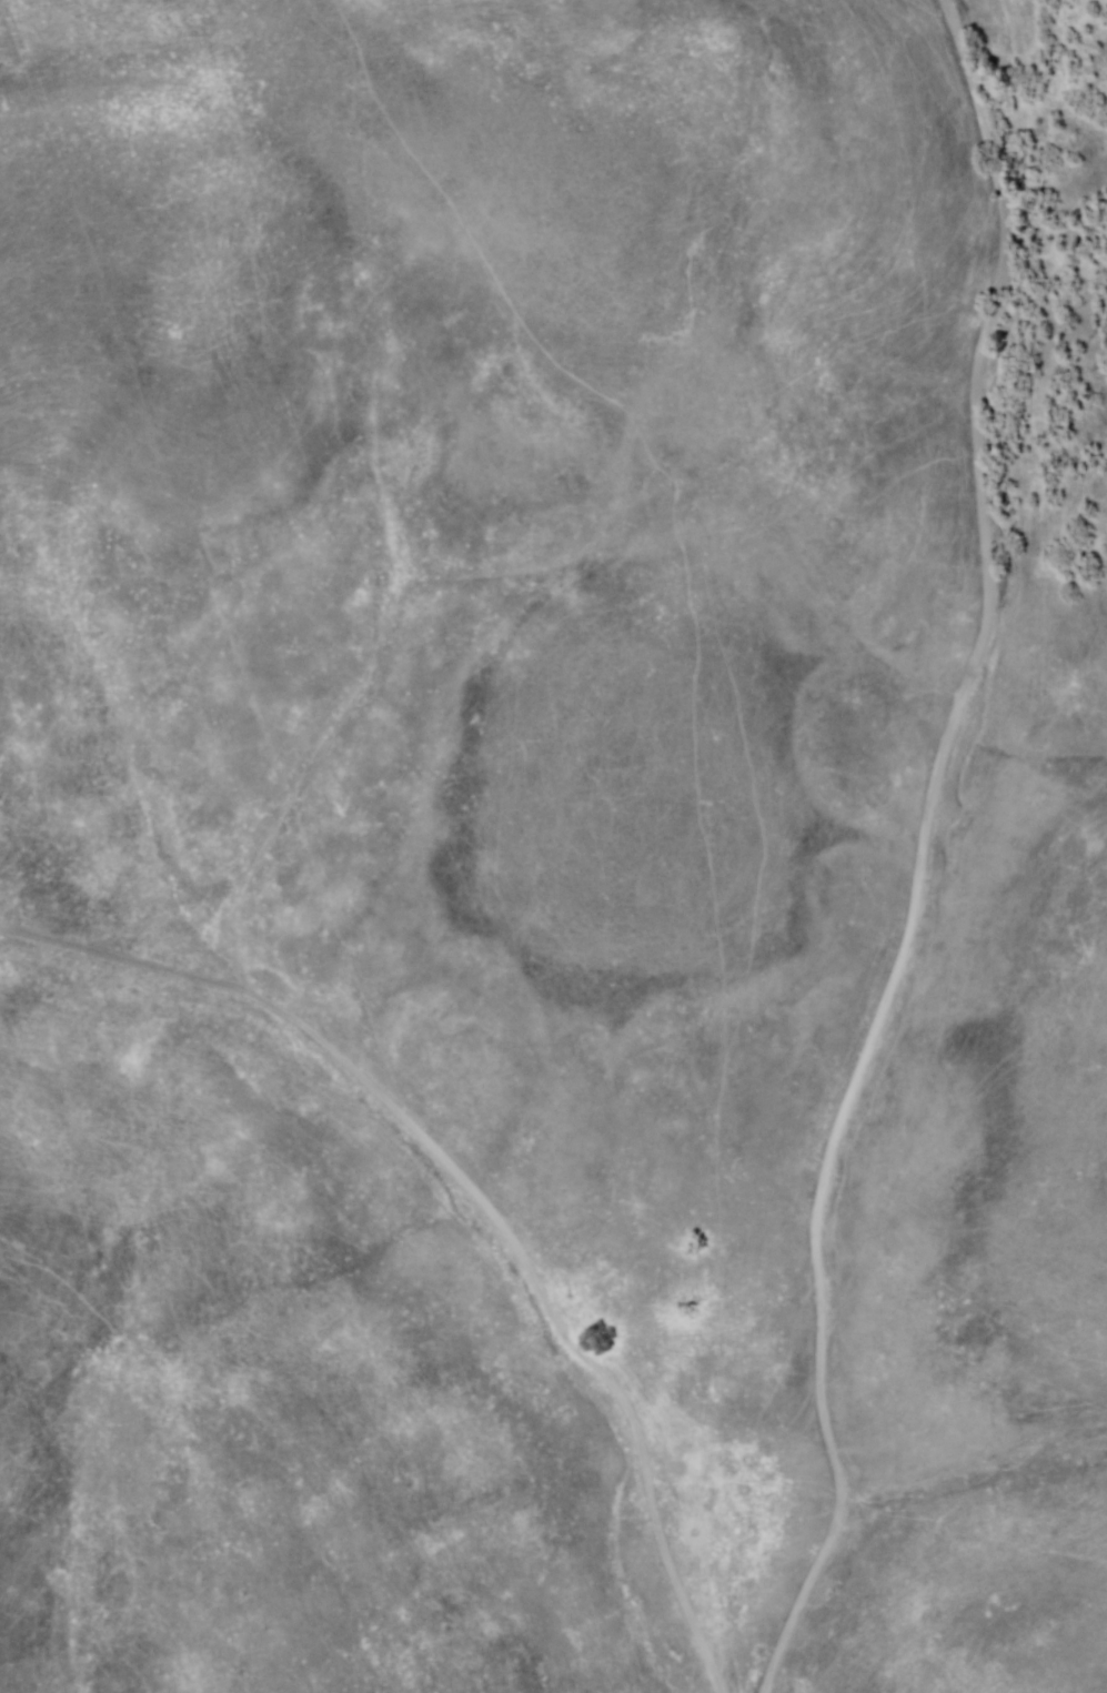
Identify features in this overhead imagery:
road: (920, 847)

